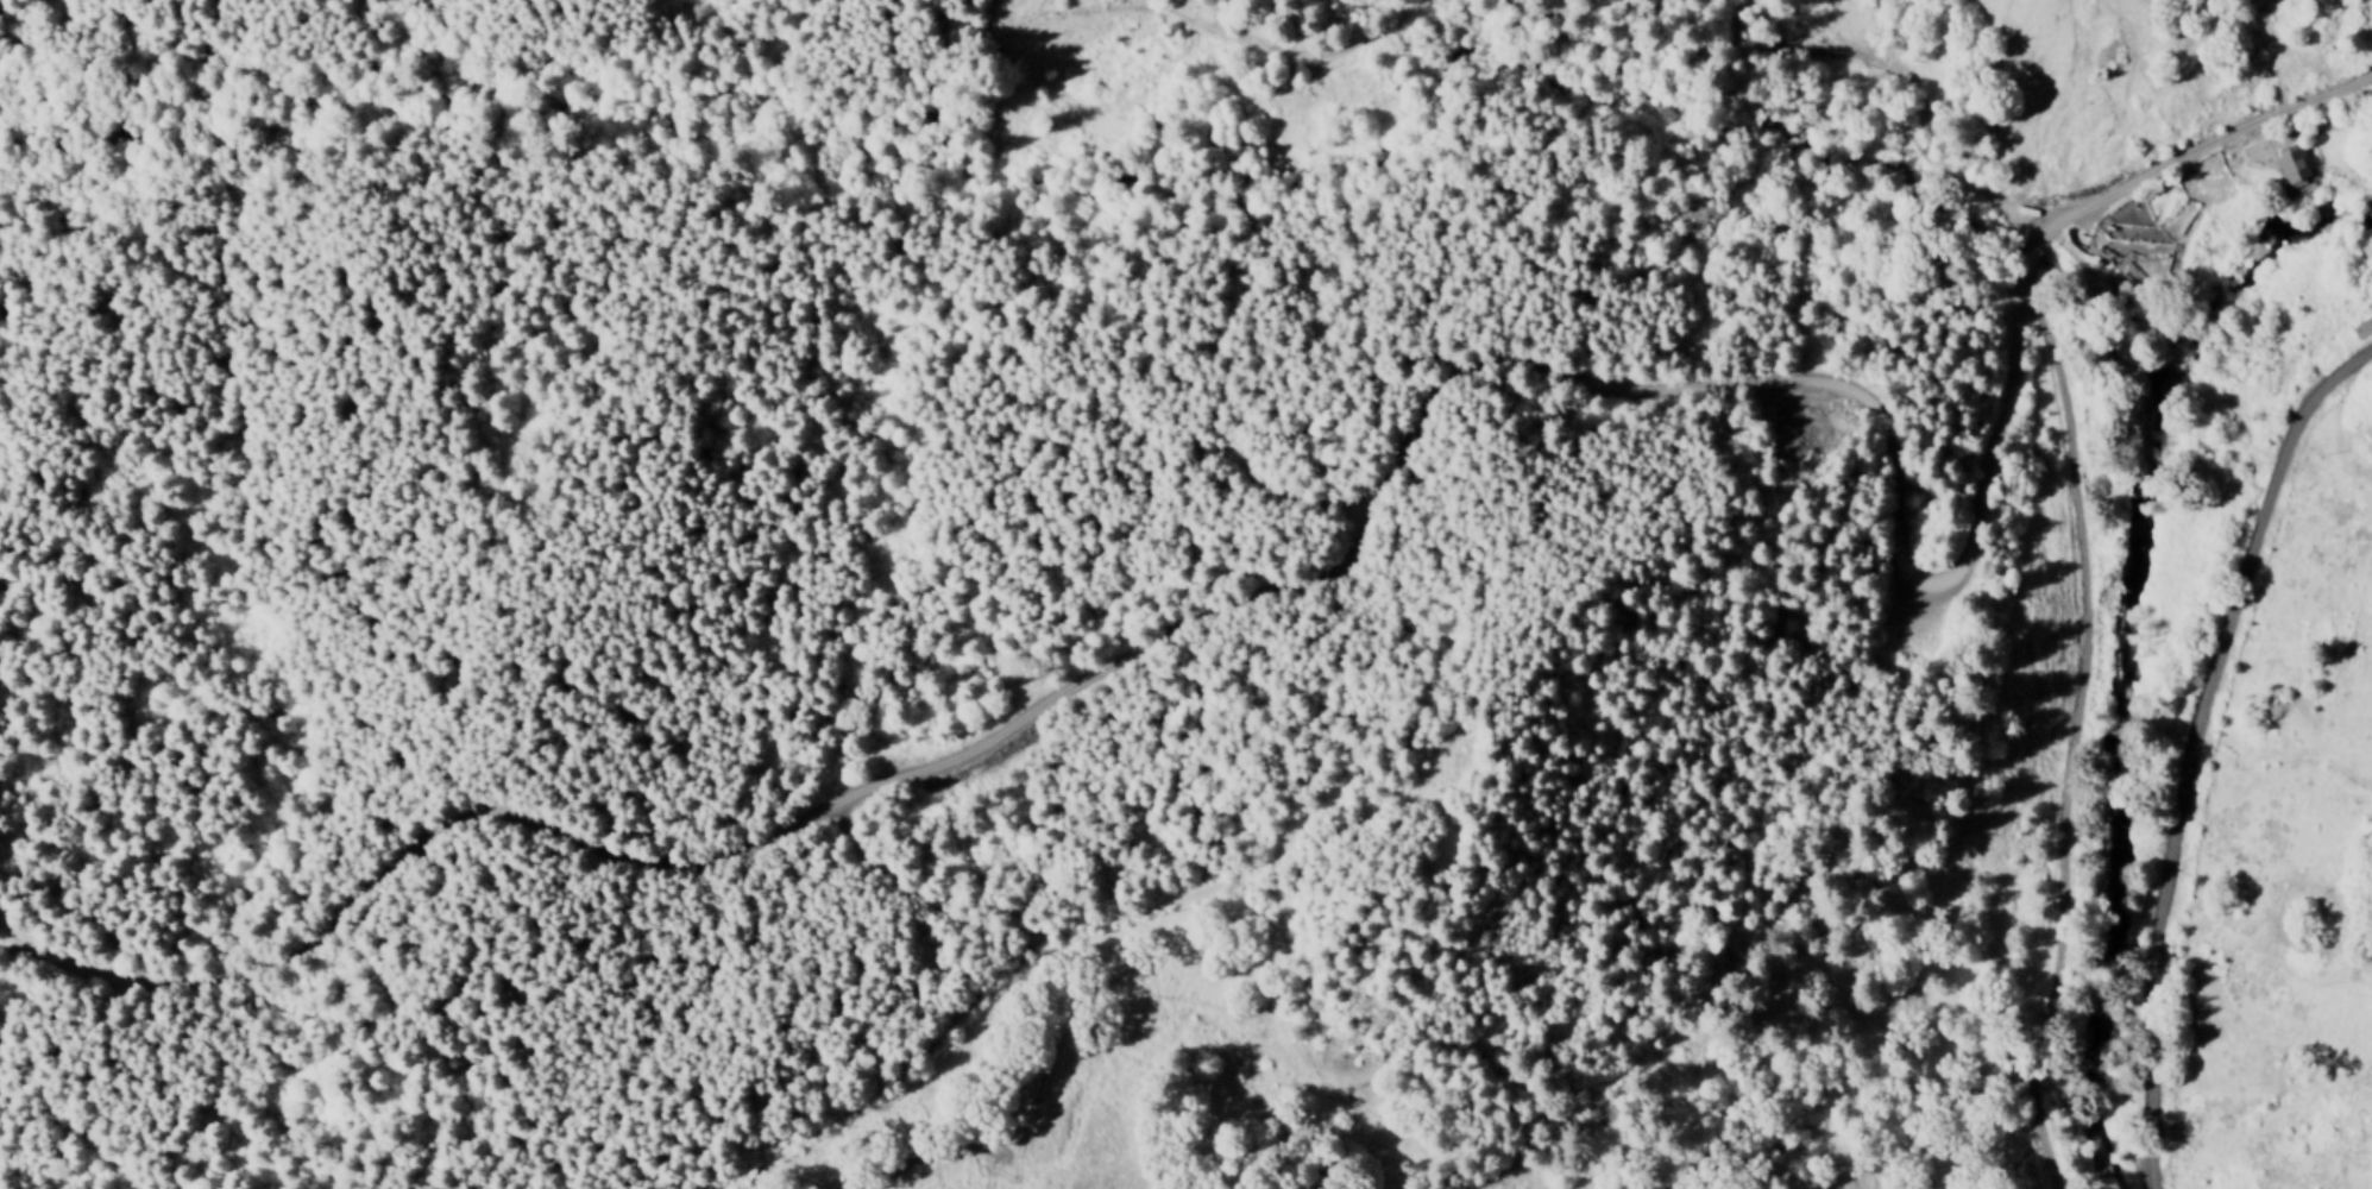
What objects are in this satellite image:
road: (194, 17)
road: (313, 42)
road: (1455, 44)
road: (2203, 141)
building: (2296, 169)
road: (2036, 244)
building: (2361, 329)
building: (2370, 433)
road: (1213, 616)
road: (2075, 726)
road: (2191, 747)

